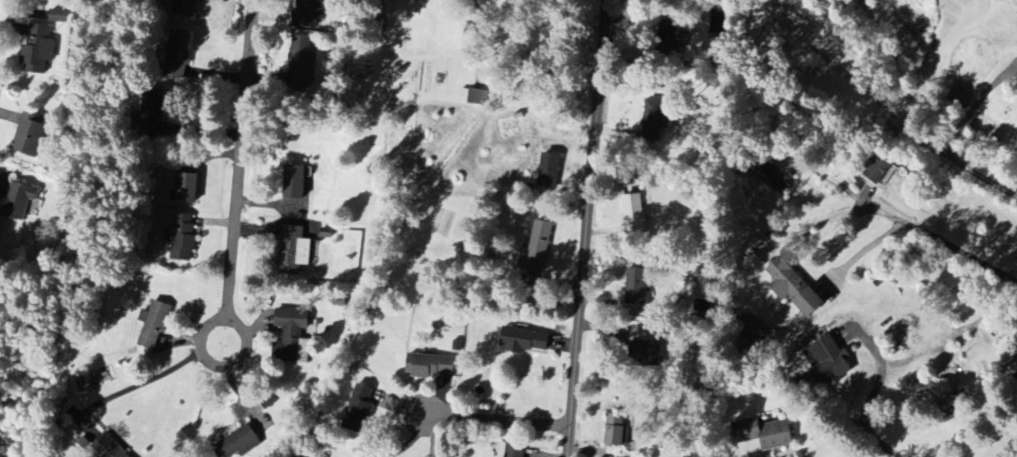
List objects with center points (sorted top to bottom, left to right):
building: (310, 13)
building: (61, 15)
building: (37, 50)
building: (178, 55)
building: (302, 62)
building: (1016, 89)
building: (479, 97)
road: (975, 103)
road: (886, 108)
building: (654, 123)
building: (29, 136)
building: (550, 170)
building: (880, 171)
road: (225, 174)
building: (295, 182)
building: (187, 192)
building: (17, 202)
building: (634, 214)
road: (900, 222)
road: (585, 228)
building: (294, 247)
building: (537, 247)
building: (183, 248)
building: (638, 287)
building: (794, 288)
building: (153, 324)
building: (290, 333)
building: (523, 340)
building: (642, 352)
building: (827, 361)
building: (430, 366)
road: (139, 383)
building: (943, 386)
road: (239, 387)
building: (359, 409)
road: (498, 419)
building: (615, 430)
building: (765, 435)
road: (411, 440)
building: (240, 443)
building: (108, 448)
building: (516, 450)

